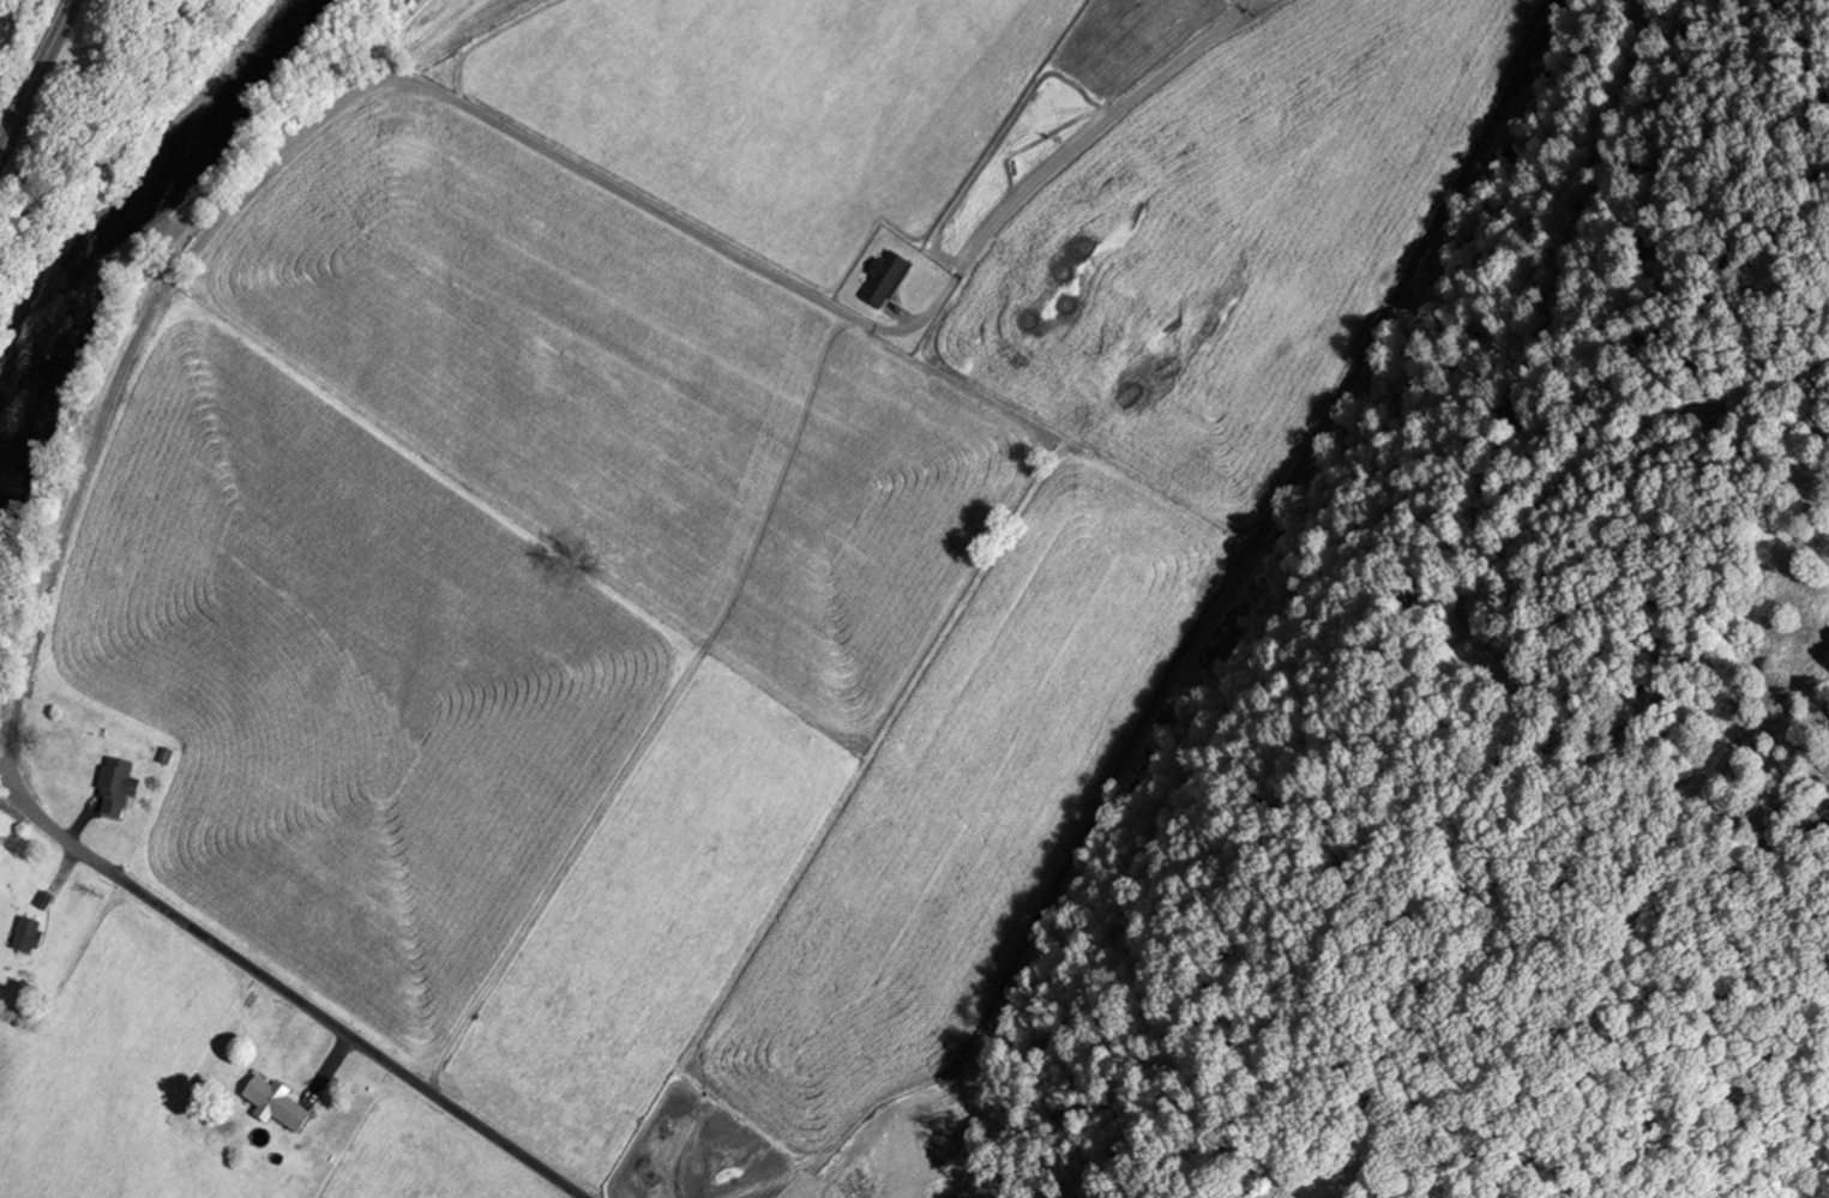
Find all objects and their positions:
road: (40, 83)
crop: (777, 108)
road: (489, 121)
river: (115, 233)
crop: (1232, 241)
building: (886, 282)
crop: (632, 399)
crop: (344, 687)
building: (119, 789)
crop: (959, 815)
road: (1562, 901)
building: (46, 903)
crop: (649, 923)
building: (30, 938)
road: (287, 993)
road: (327, 1065)
crop: (118, 1068)
building: (278, 1103)
crop: (422, 1157)

